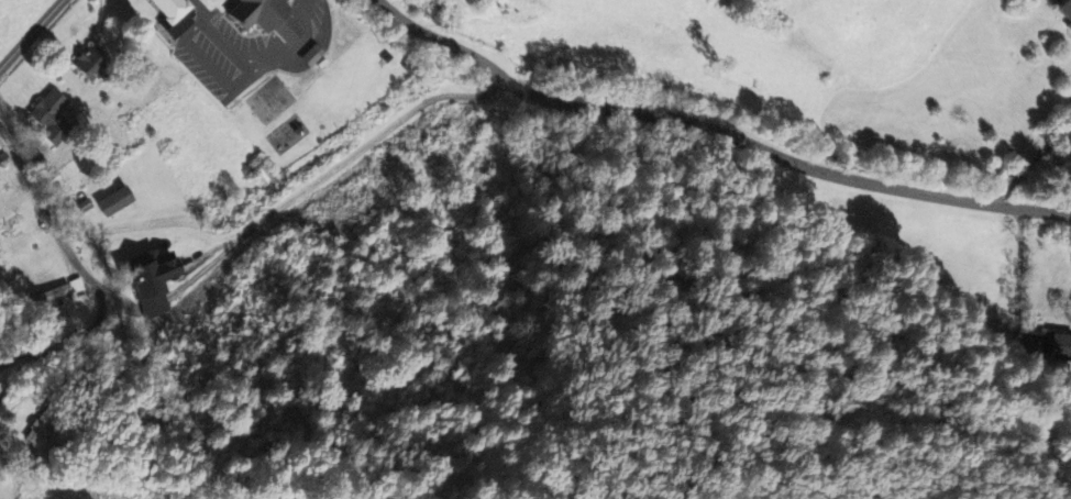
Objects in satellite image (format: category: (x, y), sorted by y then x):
building: (1064, 13)
building: (176, 15)
building: (264, 16)
road: (31, 34)
road: (257, 56)
building: (93, 62)
building: (53, 115)
road: (718, 122)
road: (1031, 158)
building: (117, 200)
road: (78, 260)
building: (157, 278)
building: (57, 292)
building: (1057, 347)
road: (13, 373)
building: (42, 425)
road: (10, 452)

